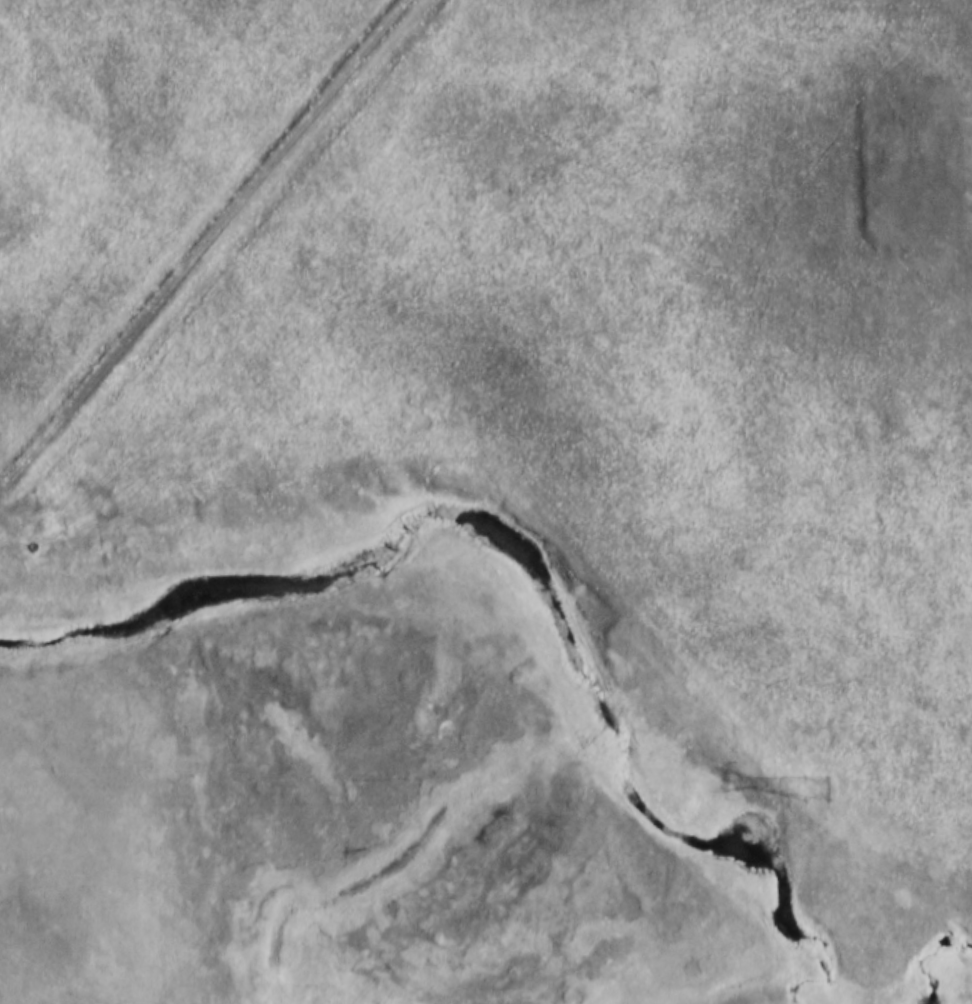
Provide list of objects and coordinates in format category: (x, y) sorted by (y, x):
road: (209, 245)
road: (93, 735)
power tower: (801, 799)

